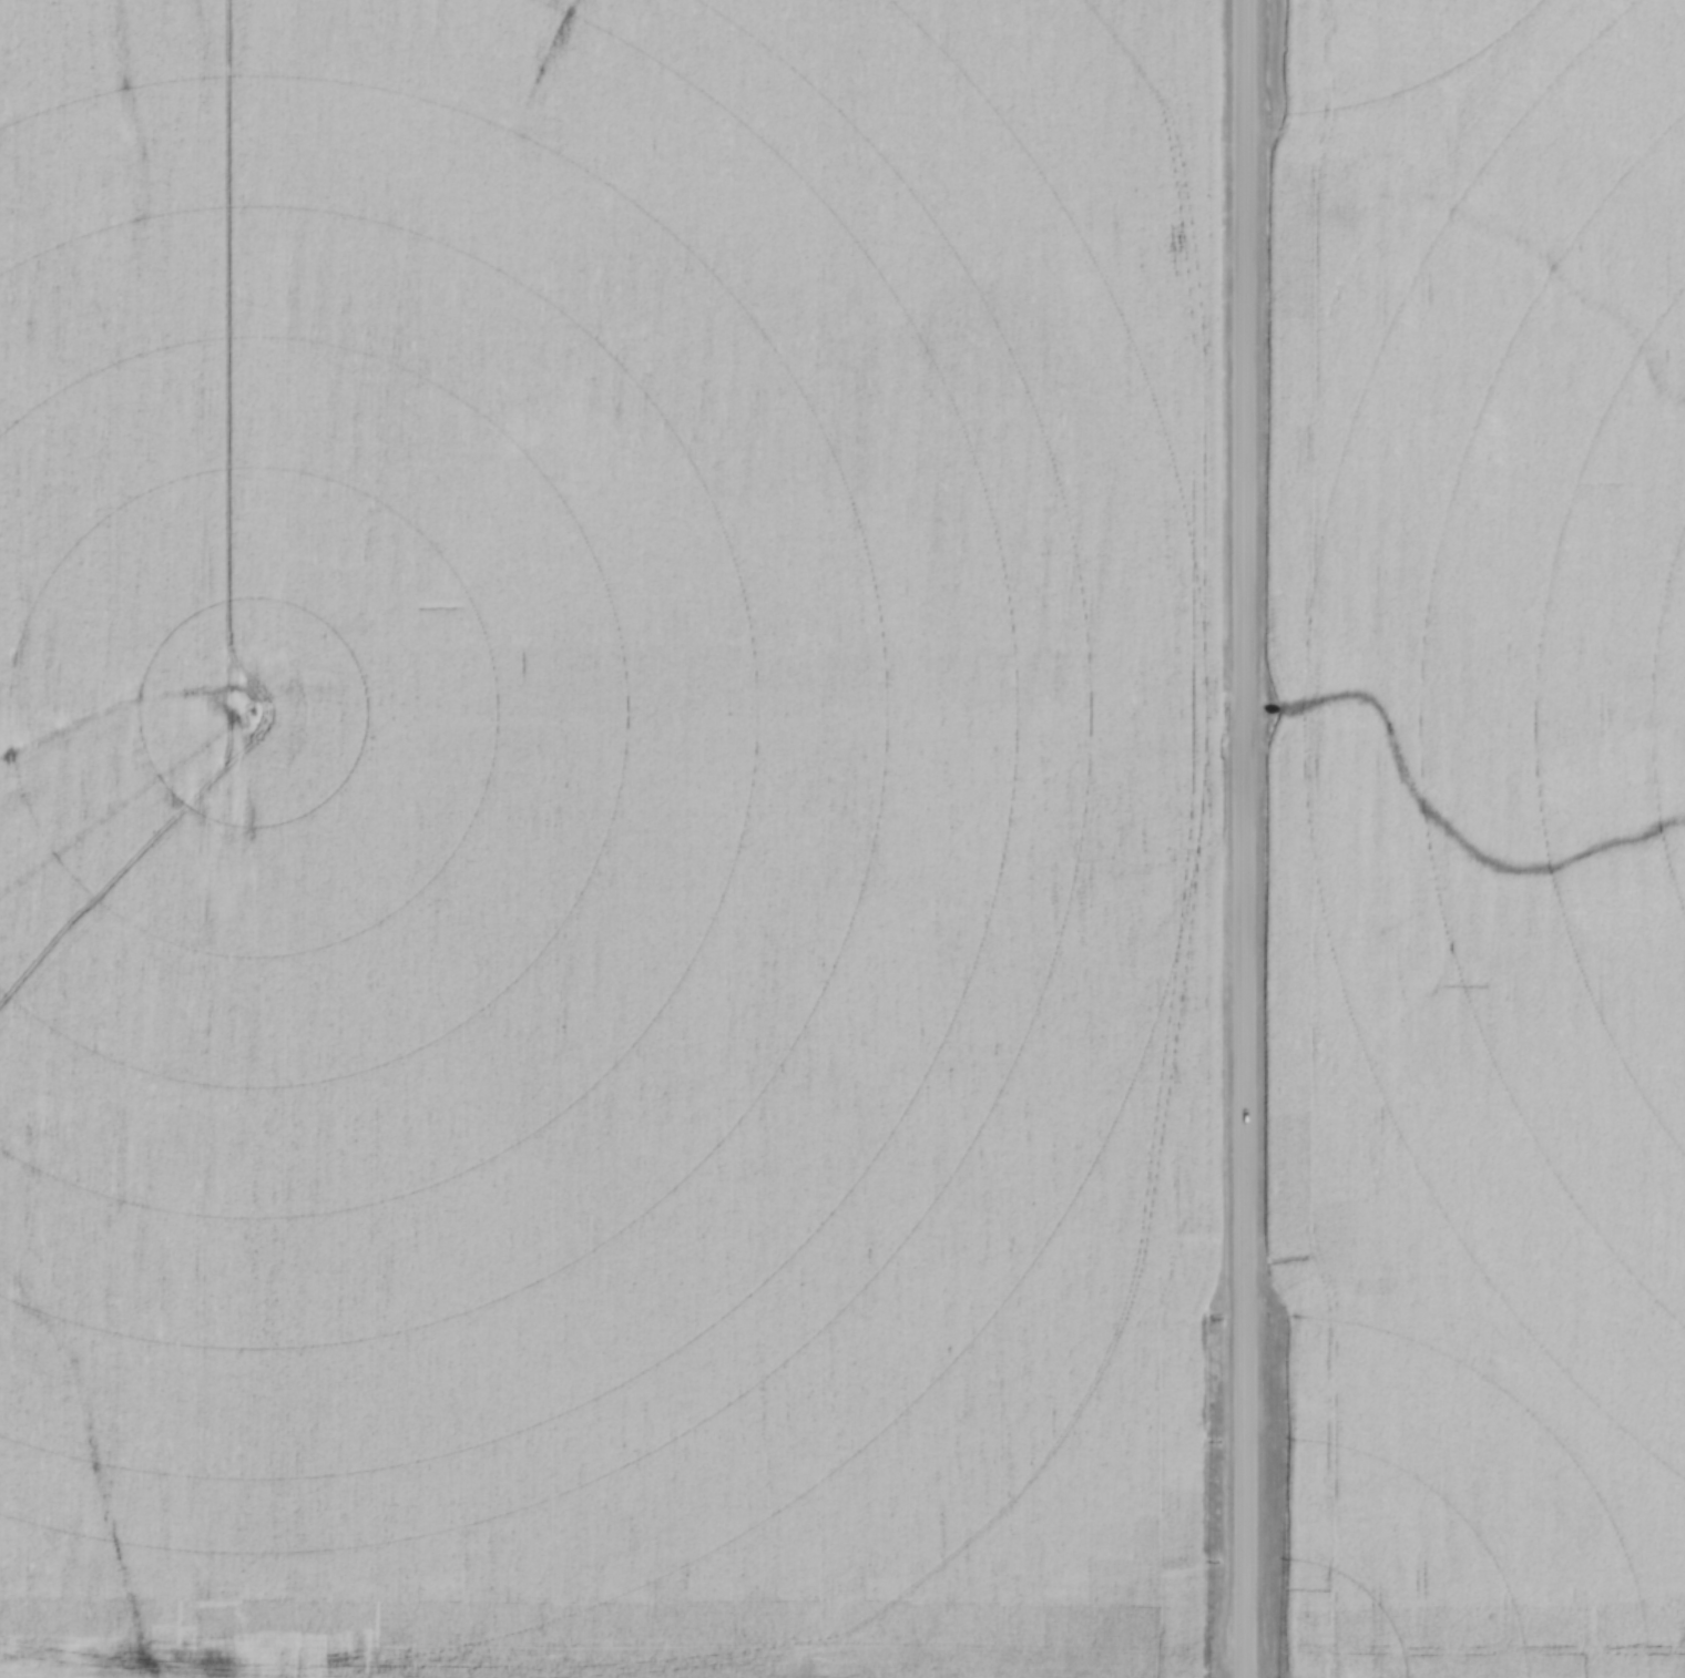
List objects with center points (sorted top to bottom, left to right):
road: (1244, 838)

